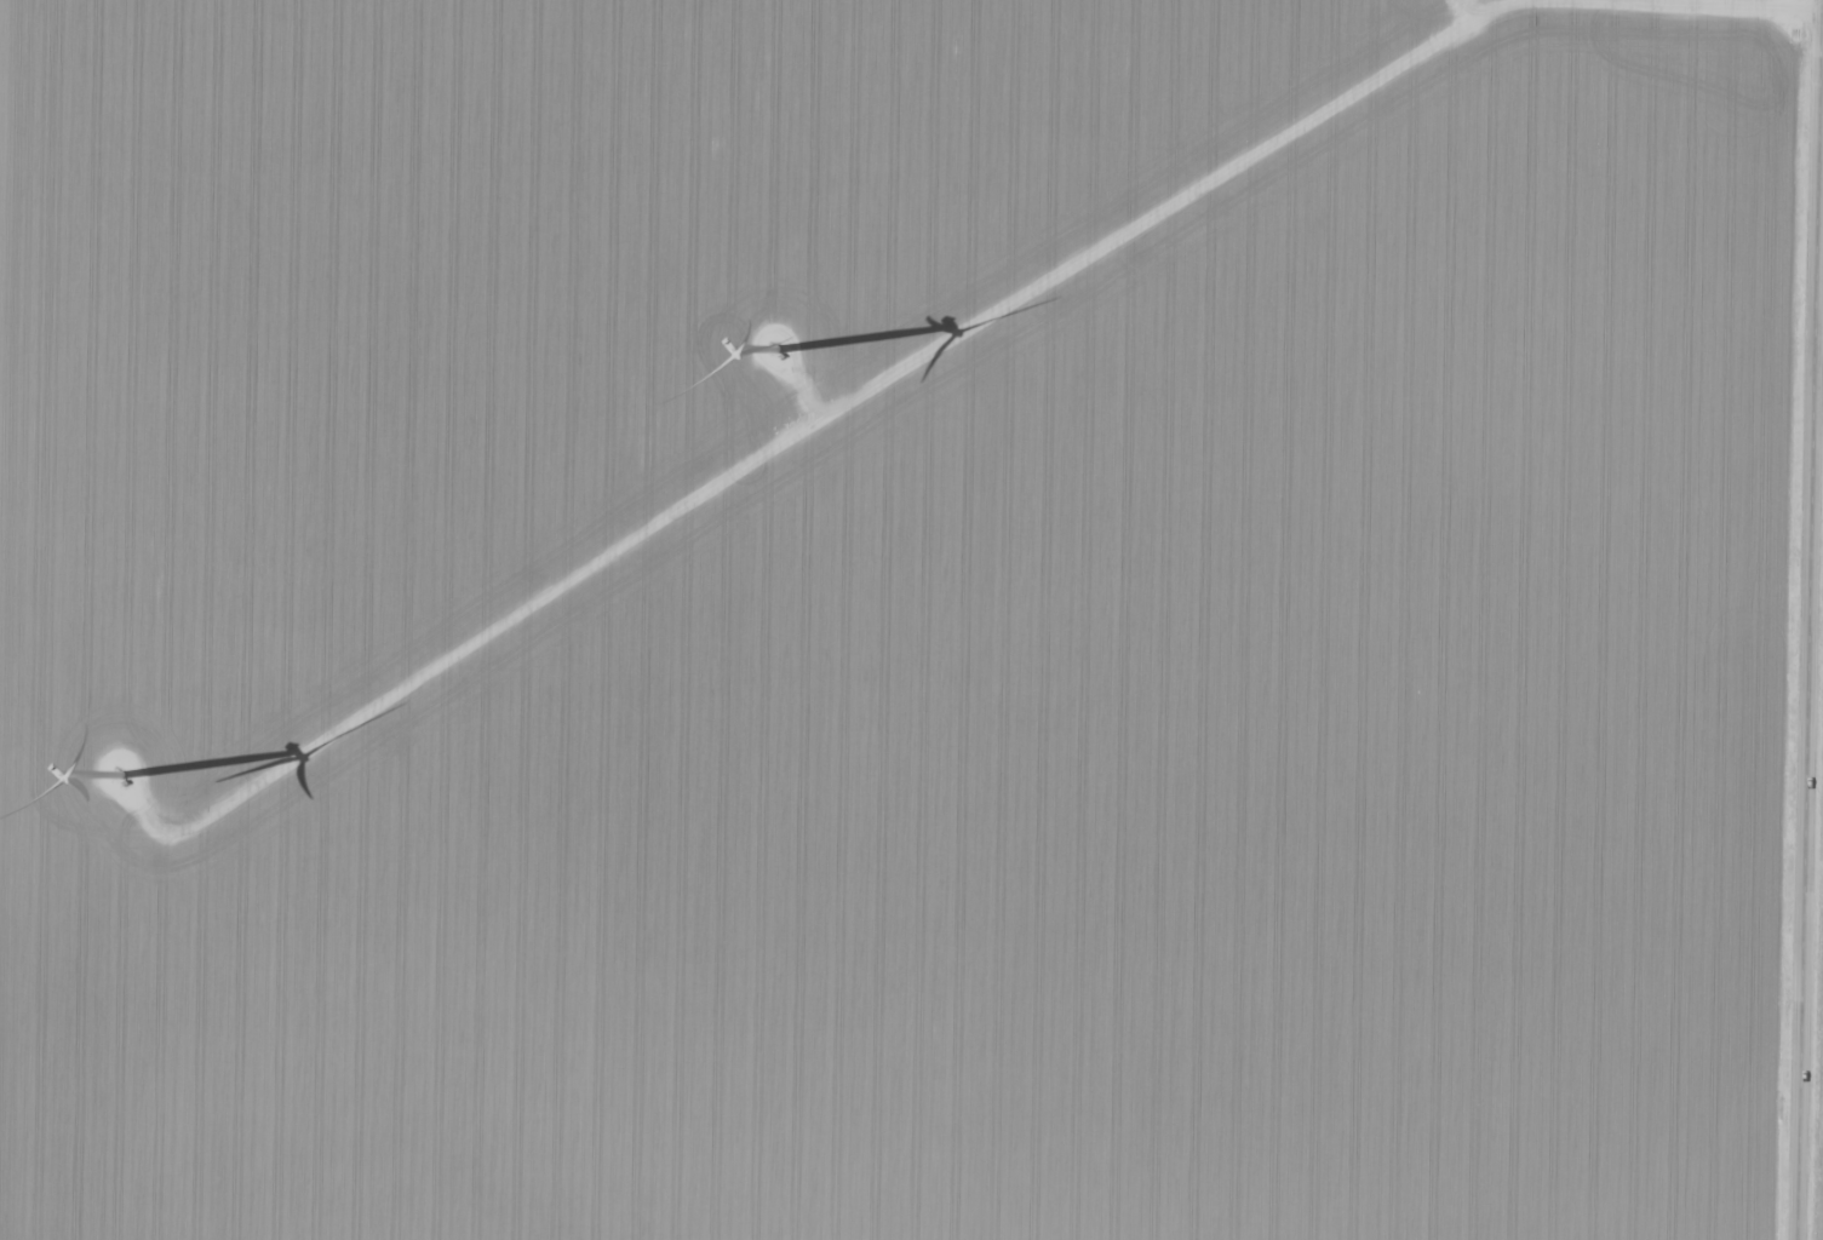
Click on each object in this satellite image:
wind turbine: (799, 360)
road: (1812, 666)
wind turbine: (128, 758)

